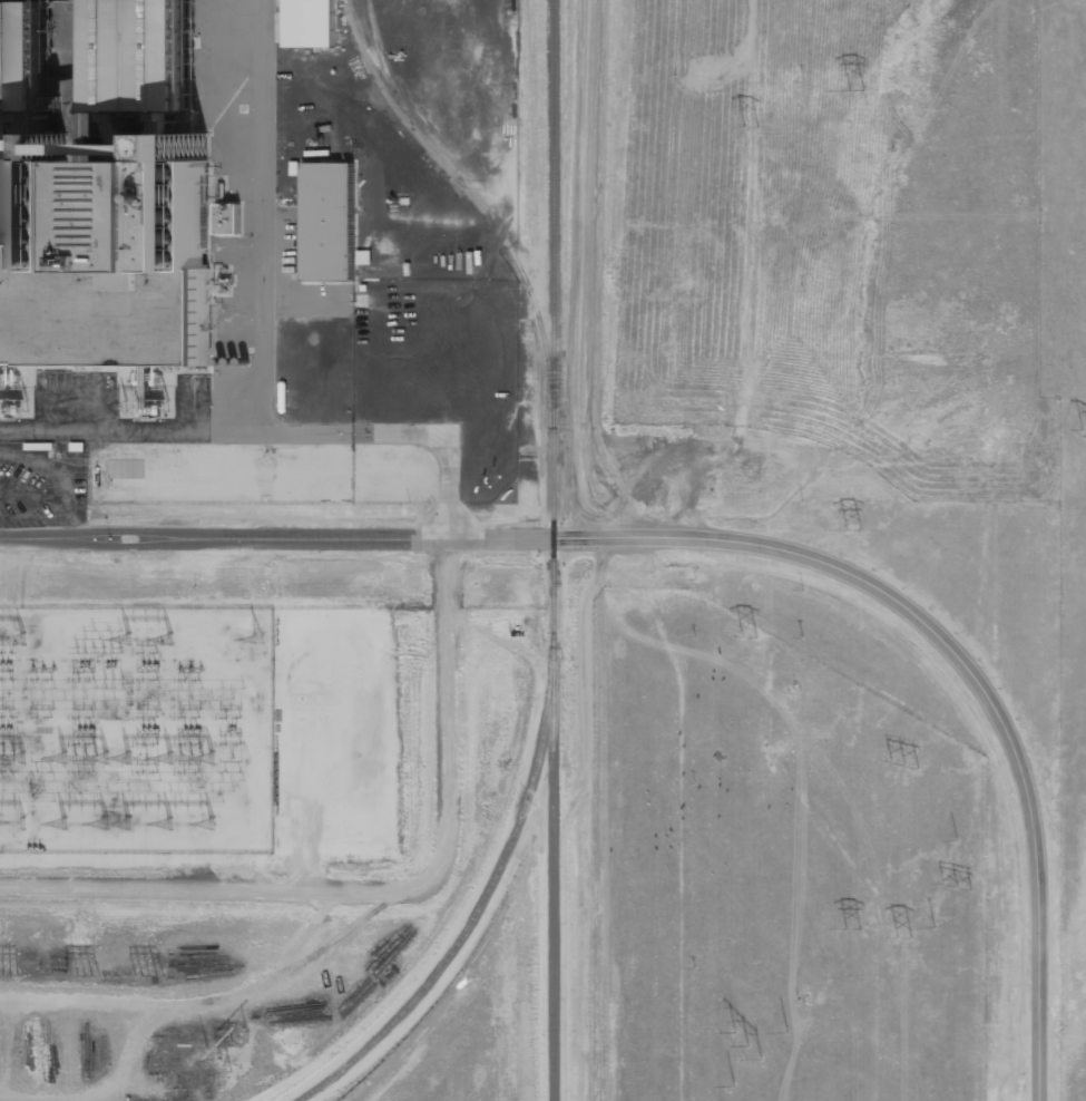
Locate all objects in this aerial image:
building: (307, 25)
power tower: (844, 88)
railway: (401, 98)
power tower: (741, 126)
railway: (478, 205)
building: (225, 218)
building: (326, 221)
road: (262, 362)
flagpole: (552, 428)
flagpole: (498, 477)
flagpole: (489, 486)
power tower: (848, 532)
road: (723, 543)
railway: (548, 549)
power plant: (525, 550)
power tower: (743, 637)
power substation: (135, 730)
power tower: (899, 764)
power tower: (951, 886)
railway: (480, 897)
power tower: (844, 929)
power tower: (897, 937)
power tower: (80, 976)
power tower: (144, 977)
power tower: (229, 1043)
power tower: (740, 1046)

